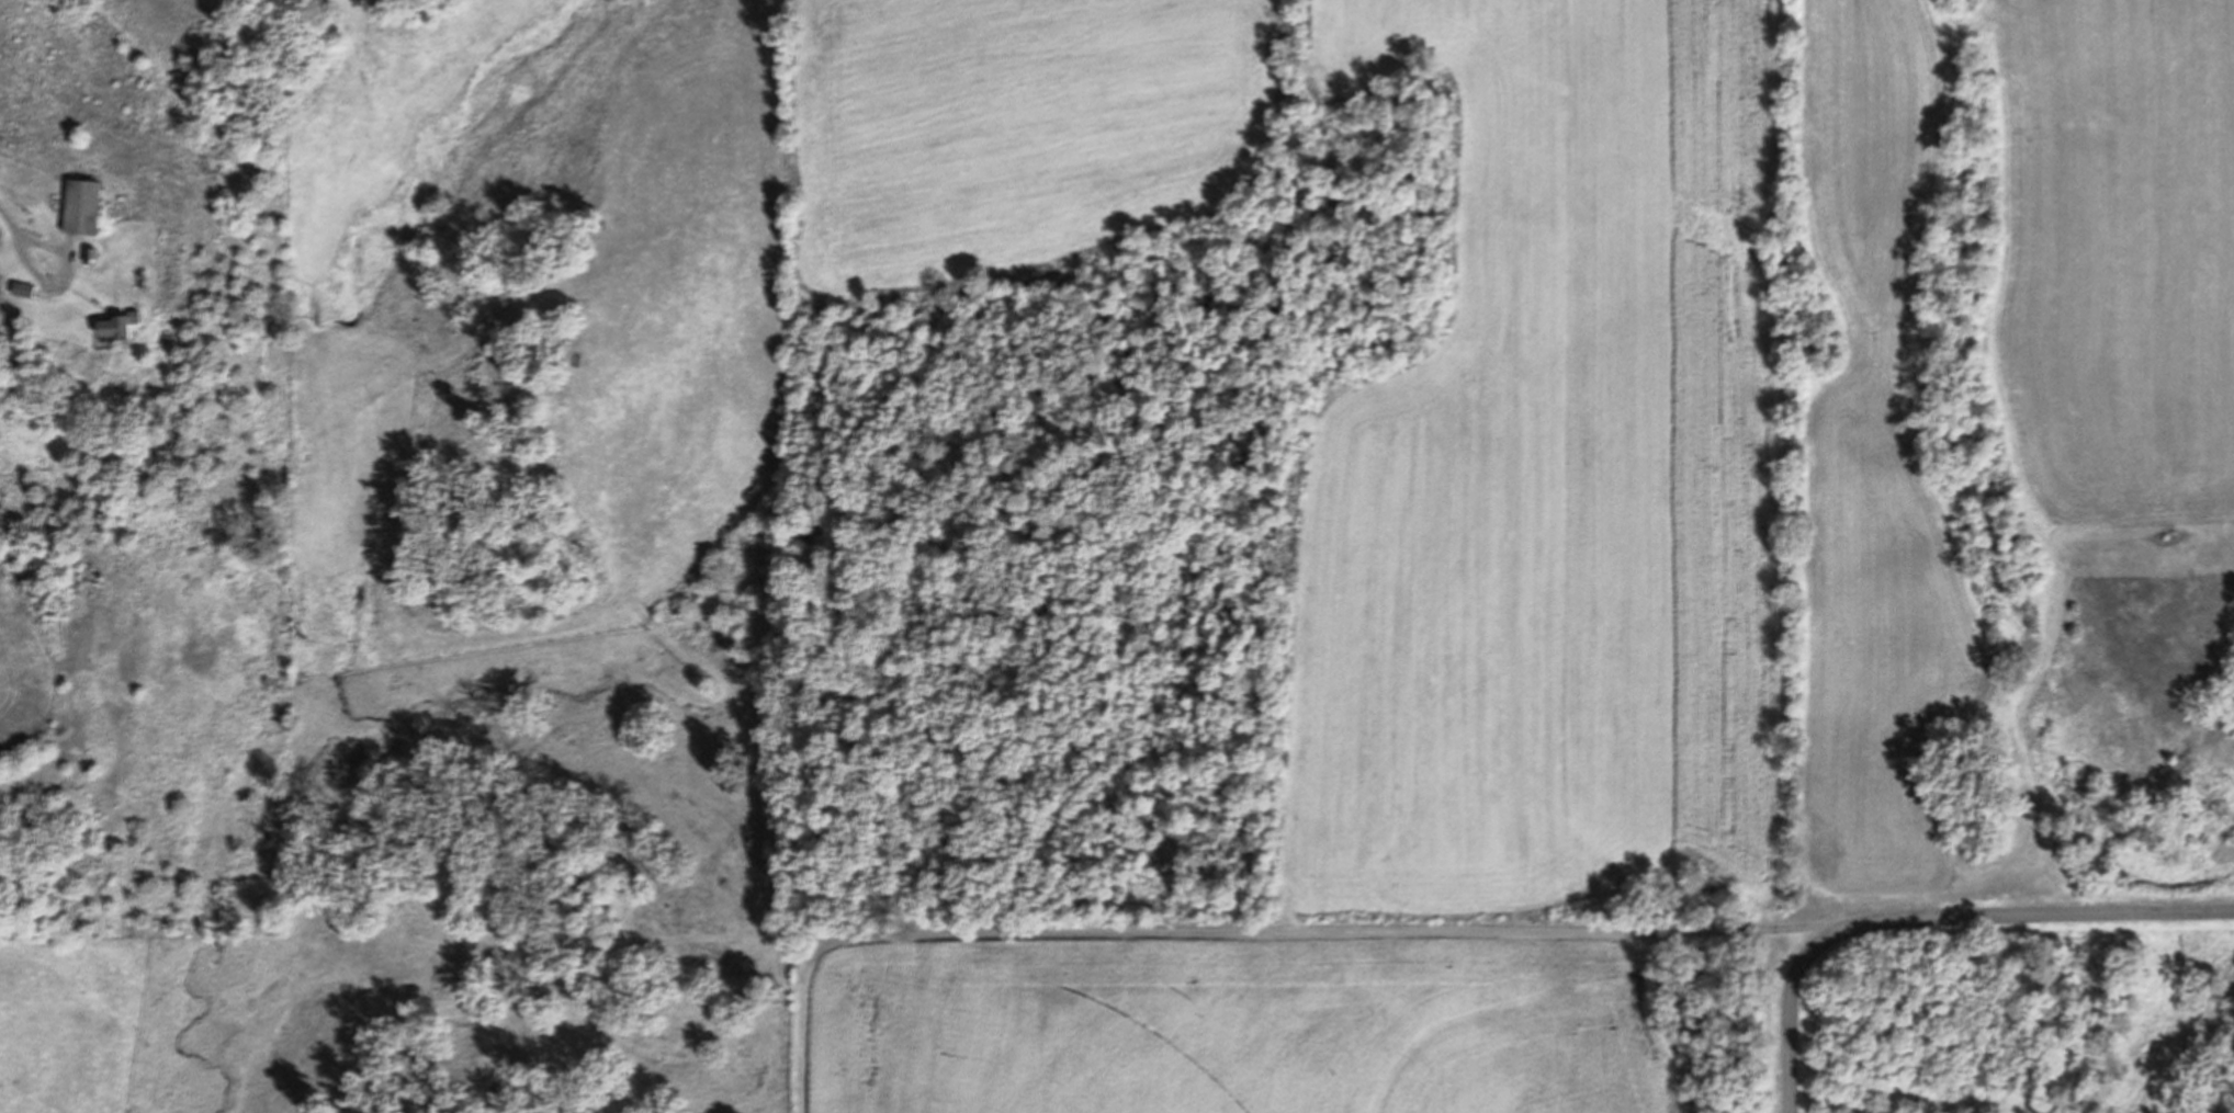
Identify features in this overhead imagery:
building: (81, 206)
road: (55, 216)
building: (89, 252)
building: (22, 291)
building: (115, 326)
road: (1934, 919)

